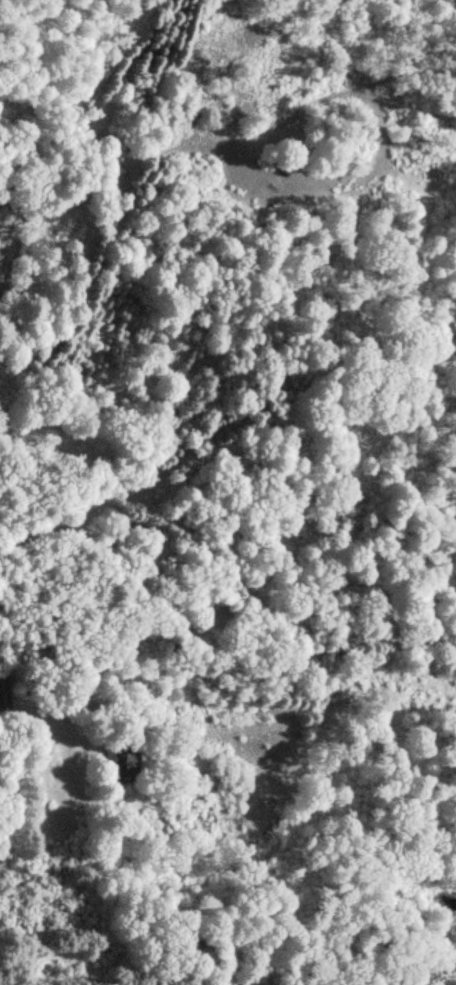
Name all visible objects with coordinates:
road: (115, 521)
building: (2, 693)

